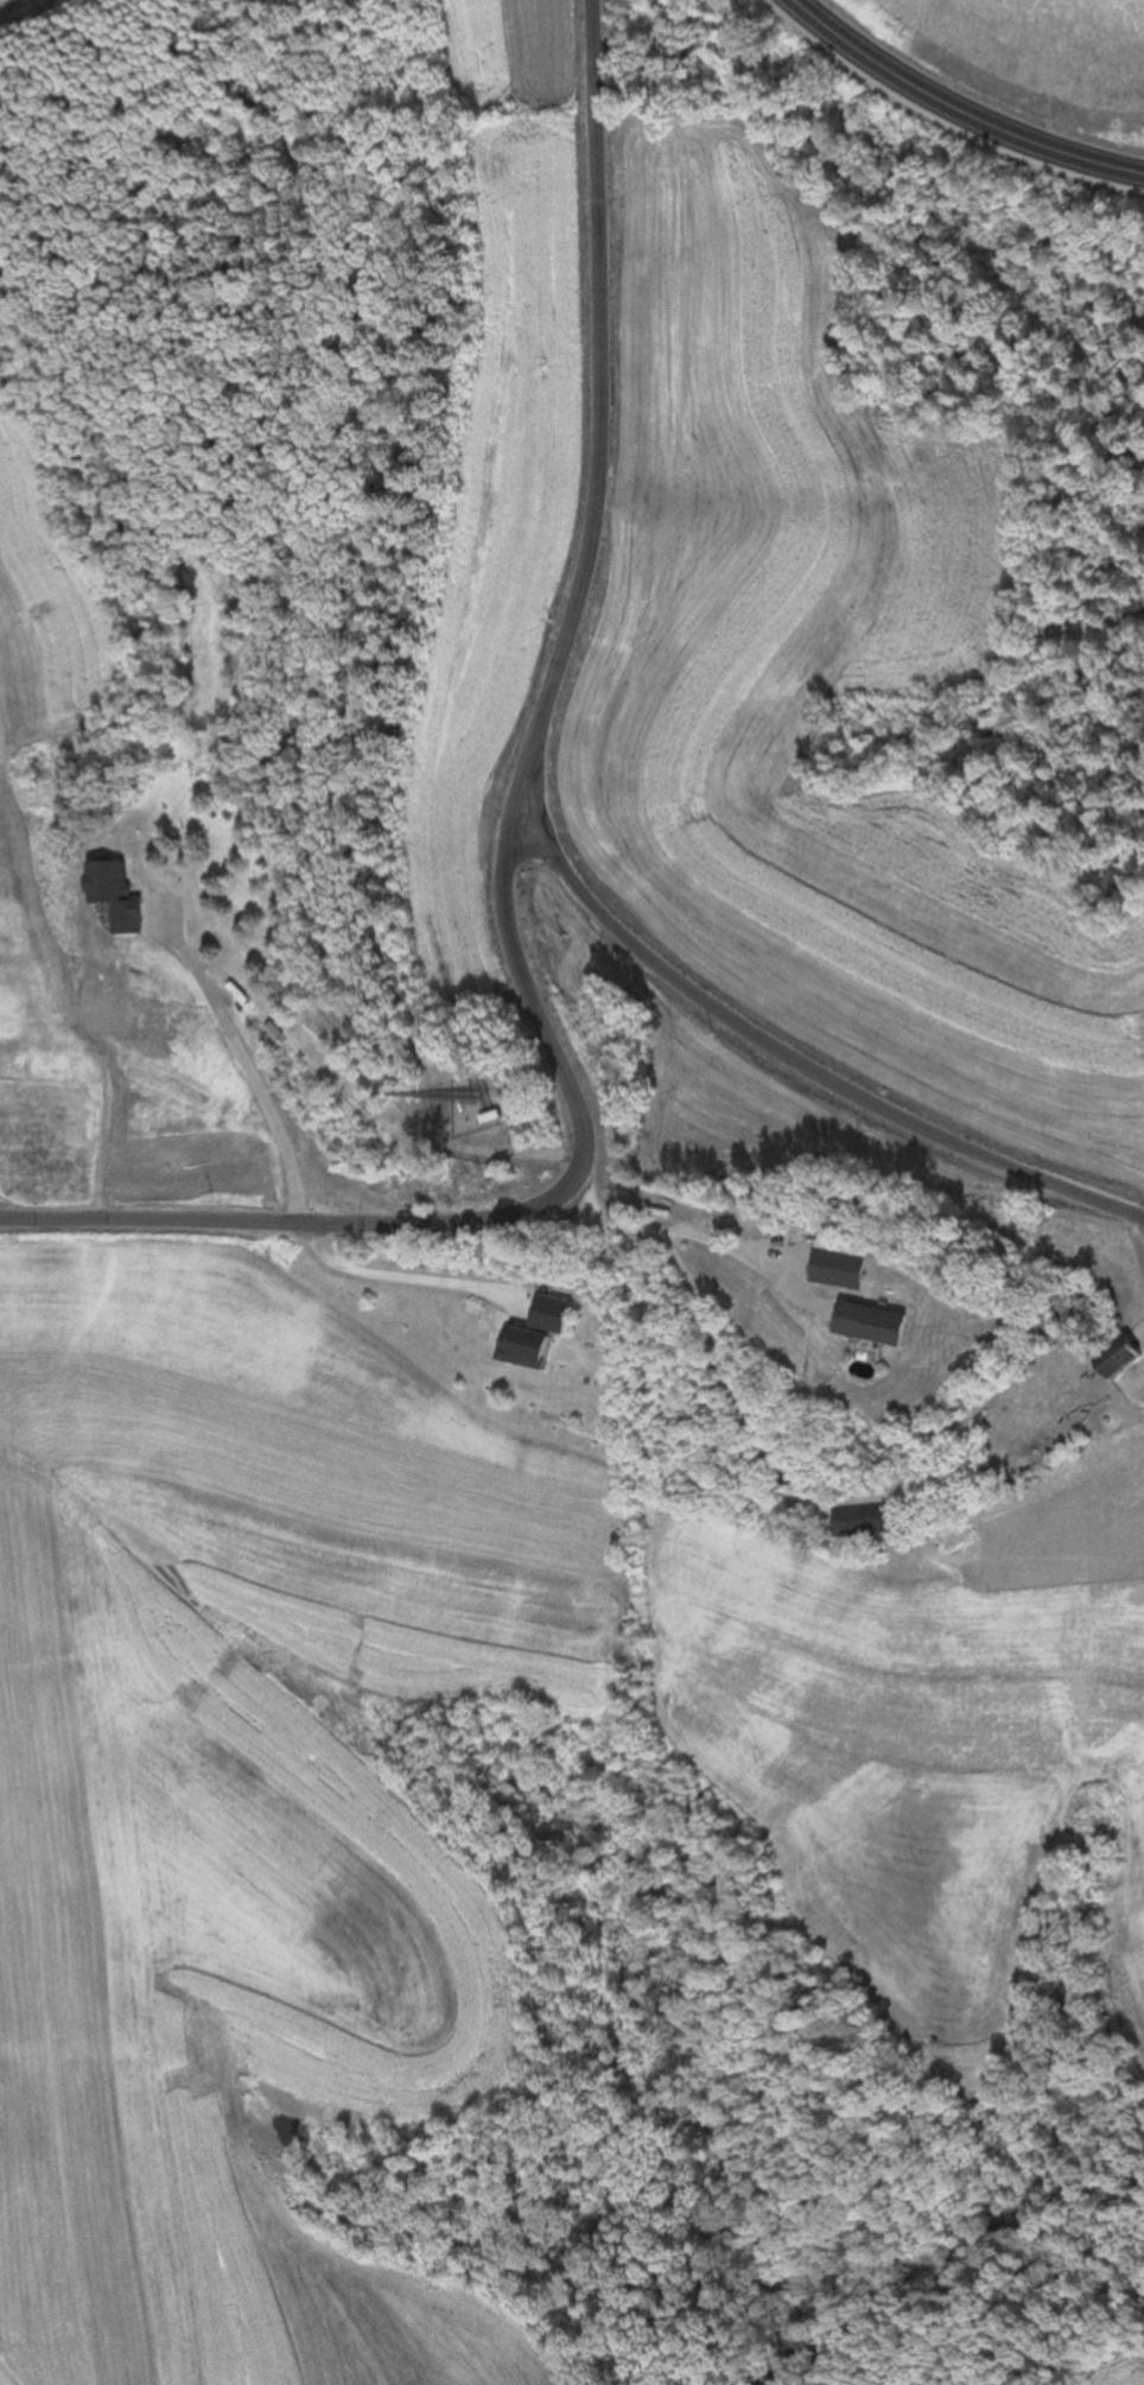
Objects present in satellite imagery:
road: (958, 107)
road: (502, 888)
road: (235, 1063)
road: (790, 1066)
road: (694, 1233)
road: (396, 1271)
road: (716, 1376)

